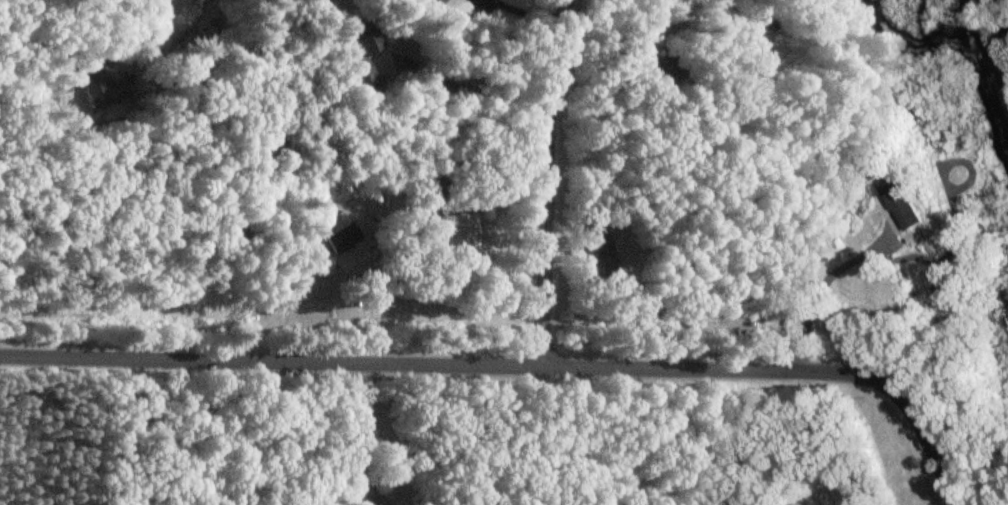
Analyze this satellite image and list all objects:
building: (431, 2)
building: (357, 55)
road: (477, 88)
building: (100, 90)
road: (546, 181)
building: (902, 205)
building: (462, 233)
building: (337, 239)
building: (603, 255)
building: (315, 265)
road: (826, 285)
road: (376, 307)
road: (515, 365)
road: (359, 425)

